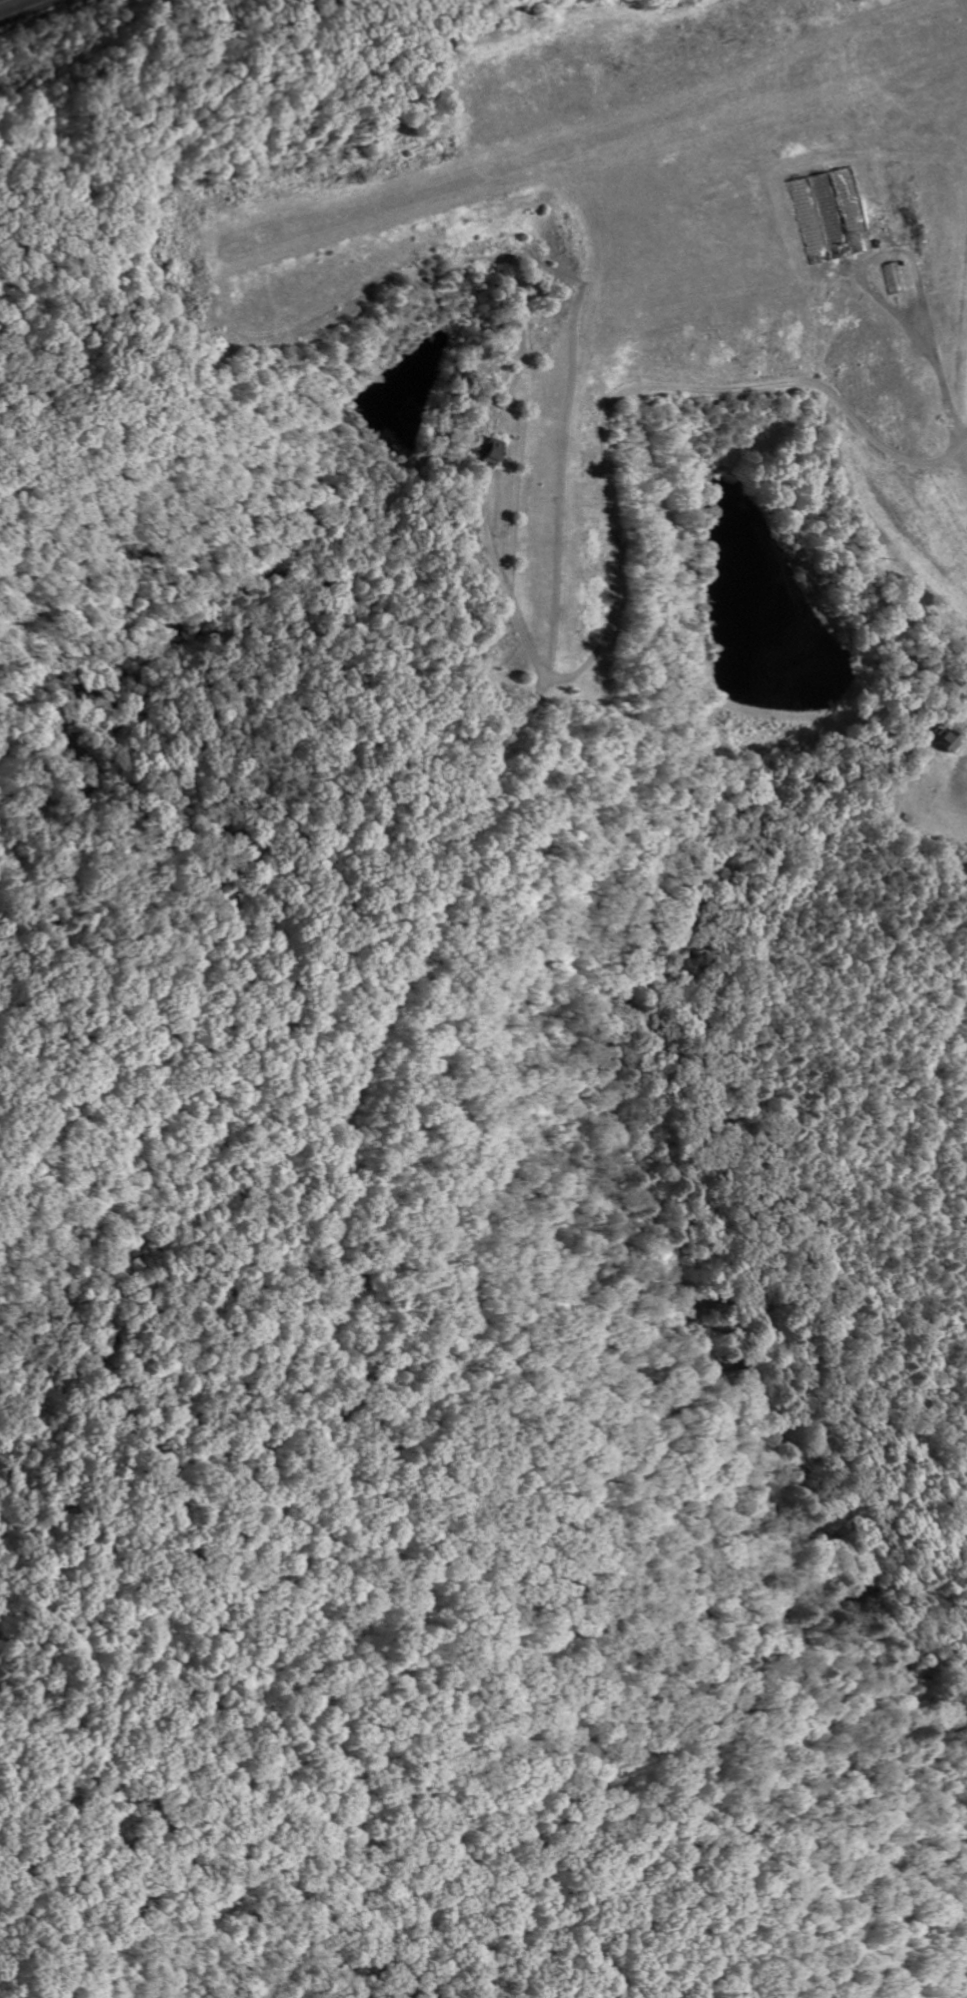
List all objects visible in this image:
road: (15, 5)
airport runway: (603, 134)
building: (489, 455)
road: (613, 474)
building: (946, 744)

